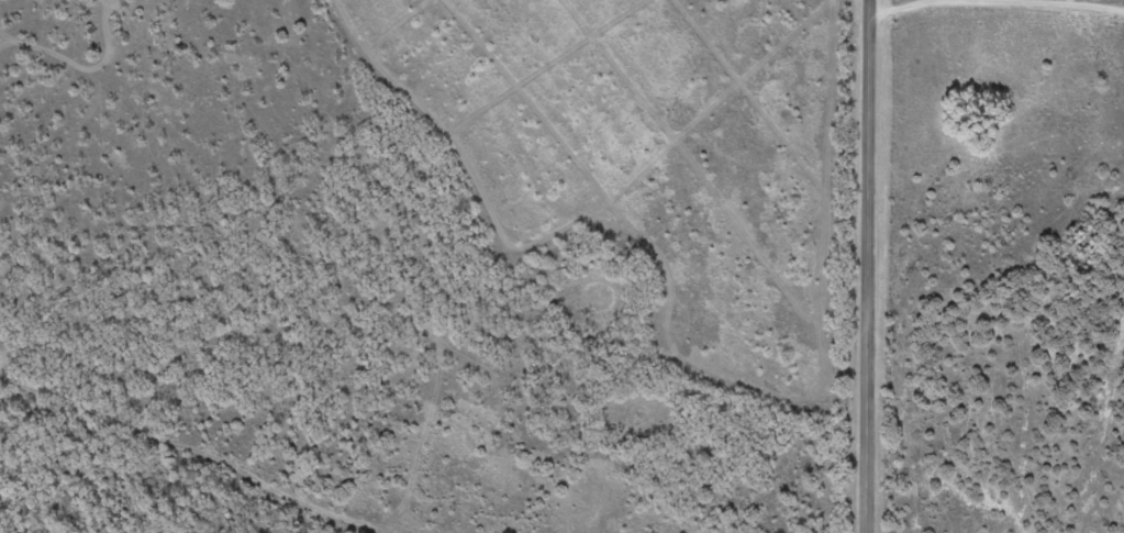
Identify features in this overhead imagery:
road: (997, 7)
road: (867, 266)

